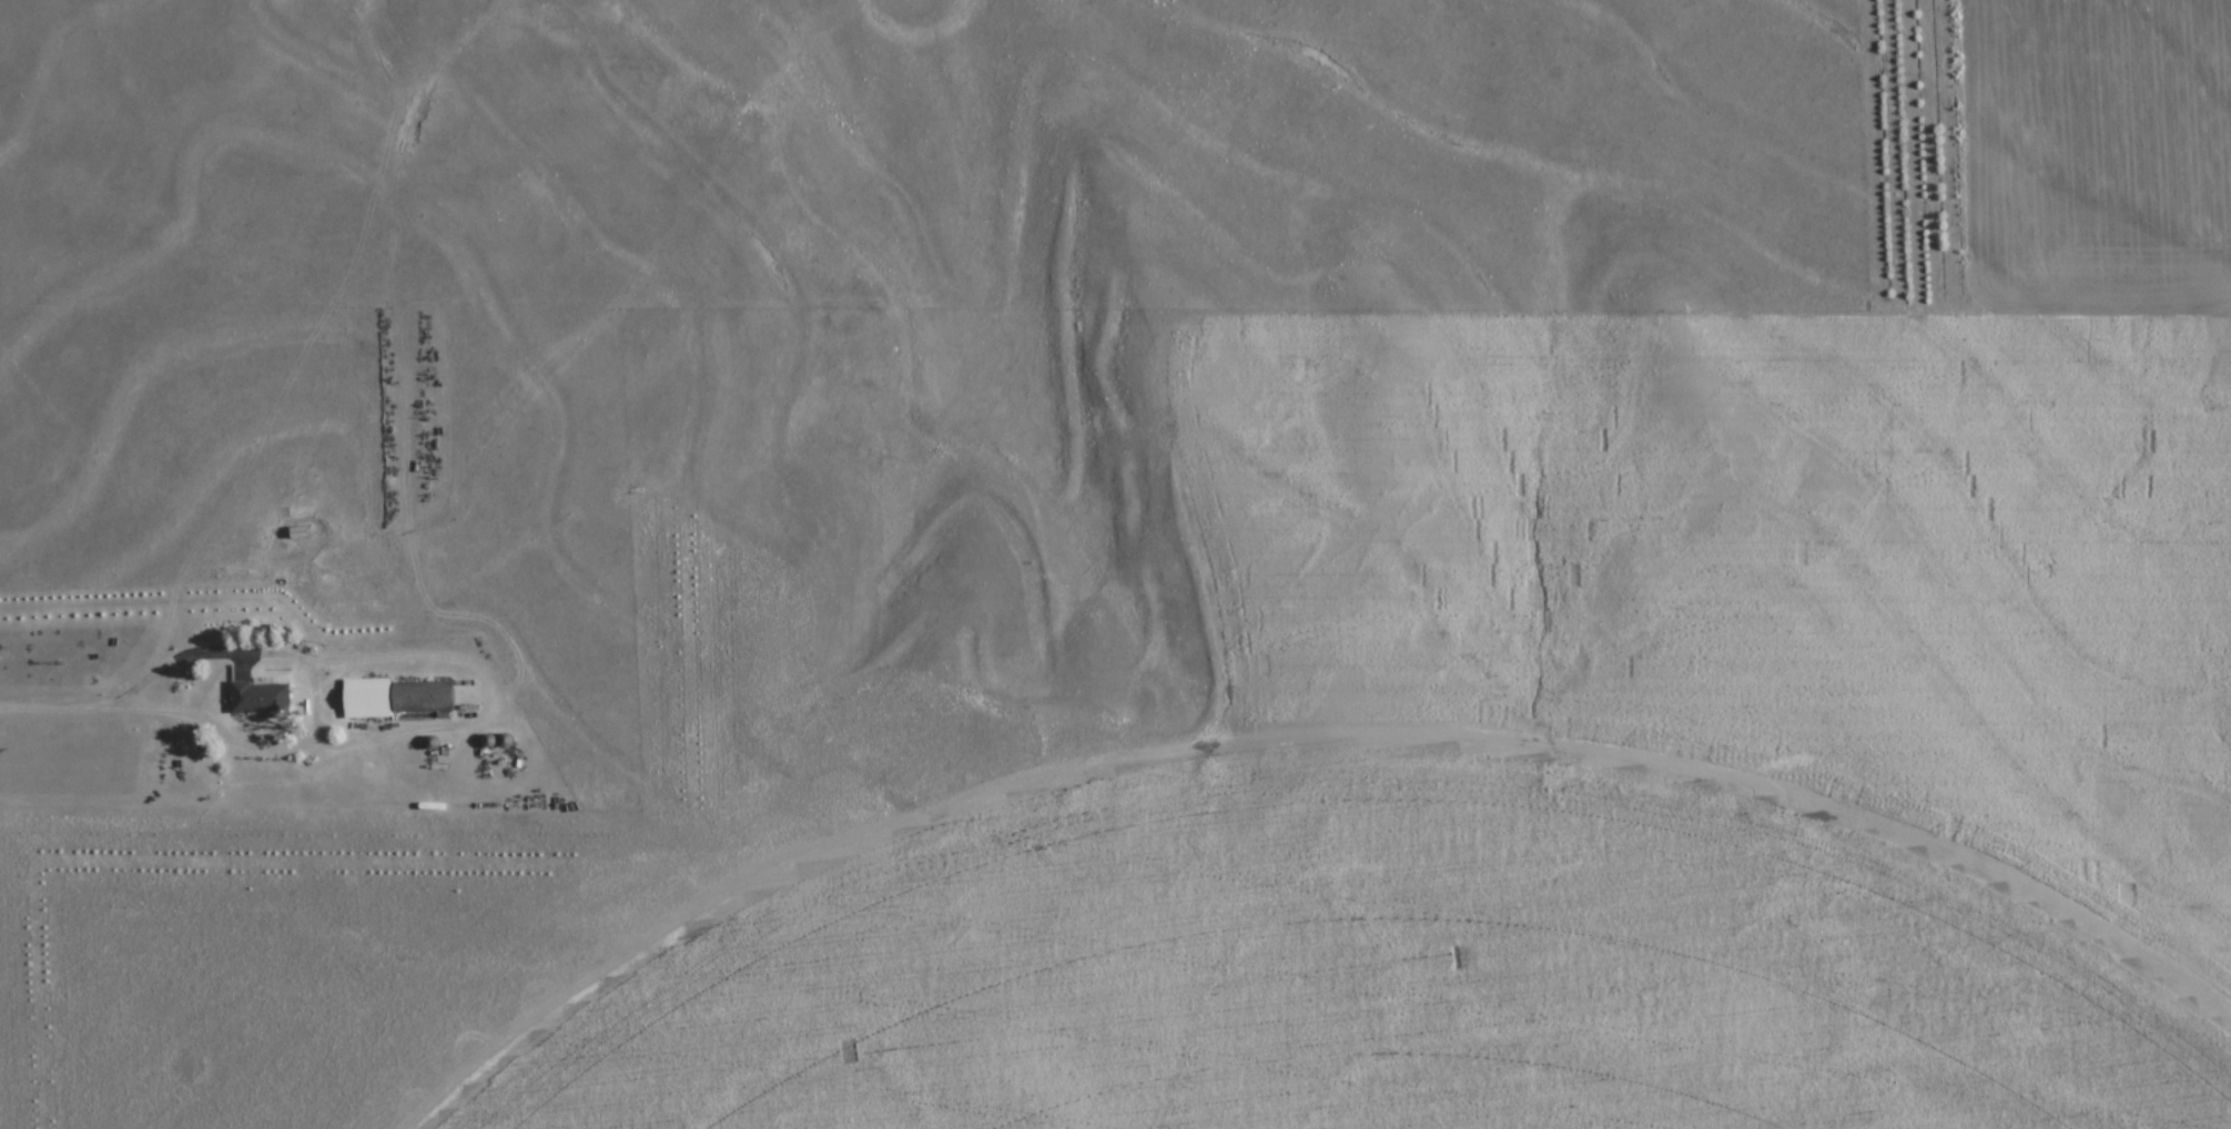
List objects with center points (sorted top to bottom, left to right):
building: (298, 529)
road: (305, 662)
building: (258, 694)
building: (423, 694)
road: (50, 709)

